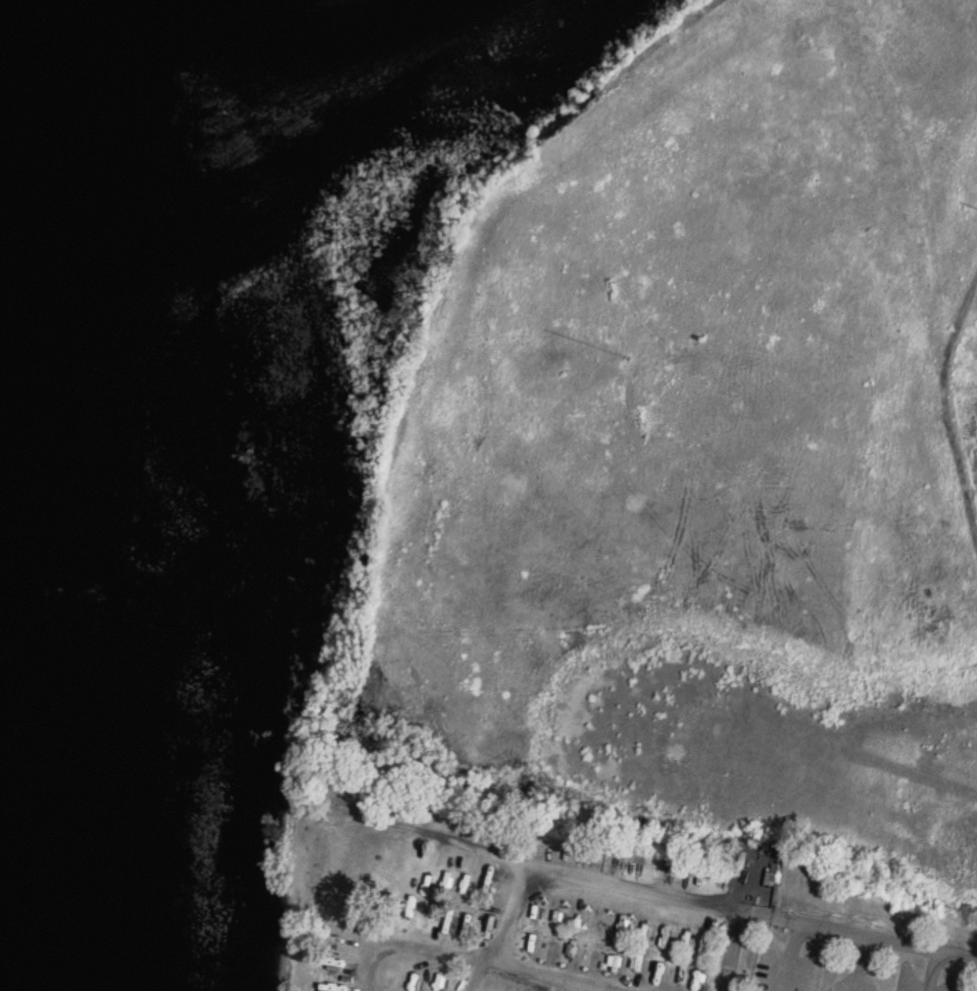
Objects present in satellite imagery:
river: (383, 39)
building: (769, 877)
road: (598, 882)
road: (851, 932)
road: (732, 950)
road: (458, 960)
road: (860, 963)
parking lot: (845, 969)
road: (933, 971)

